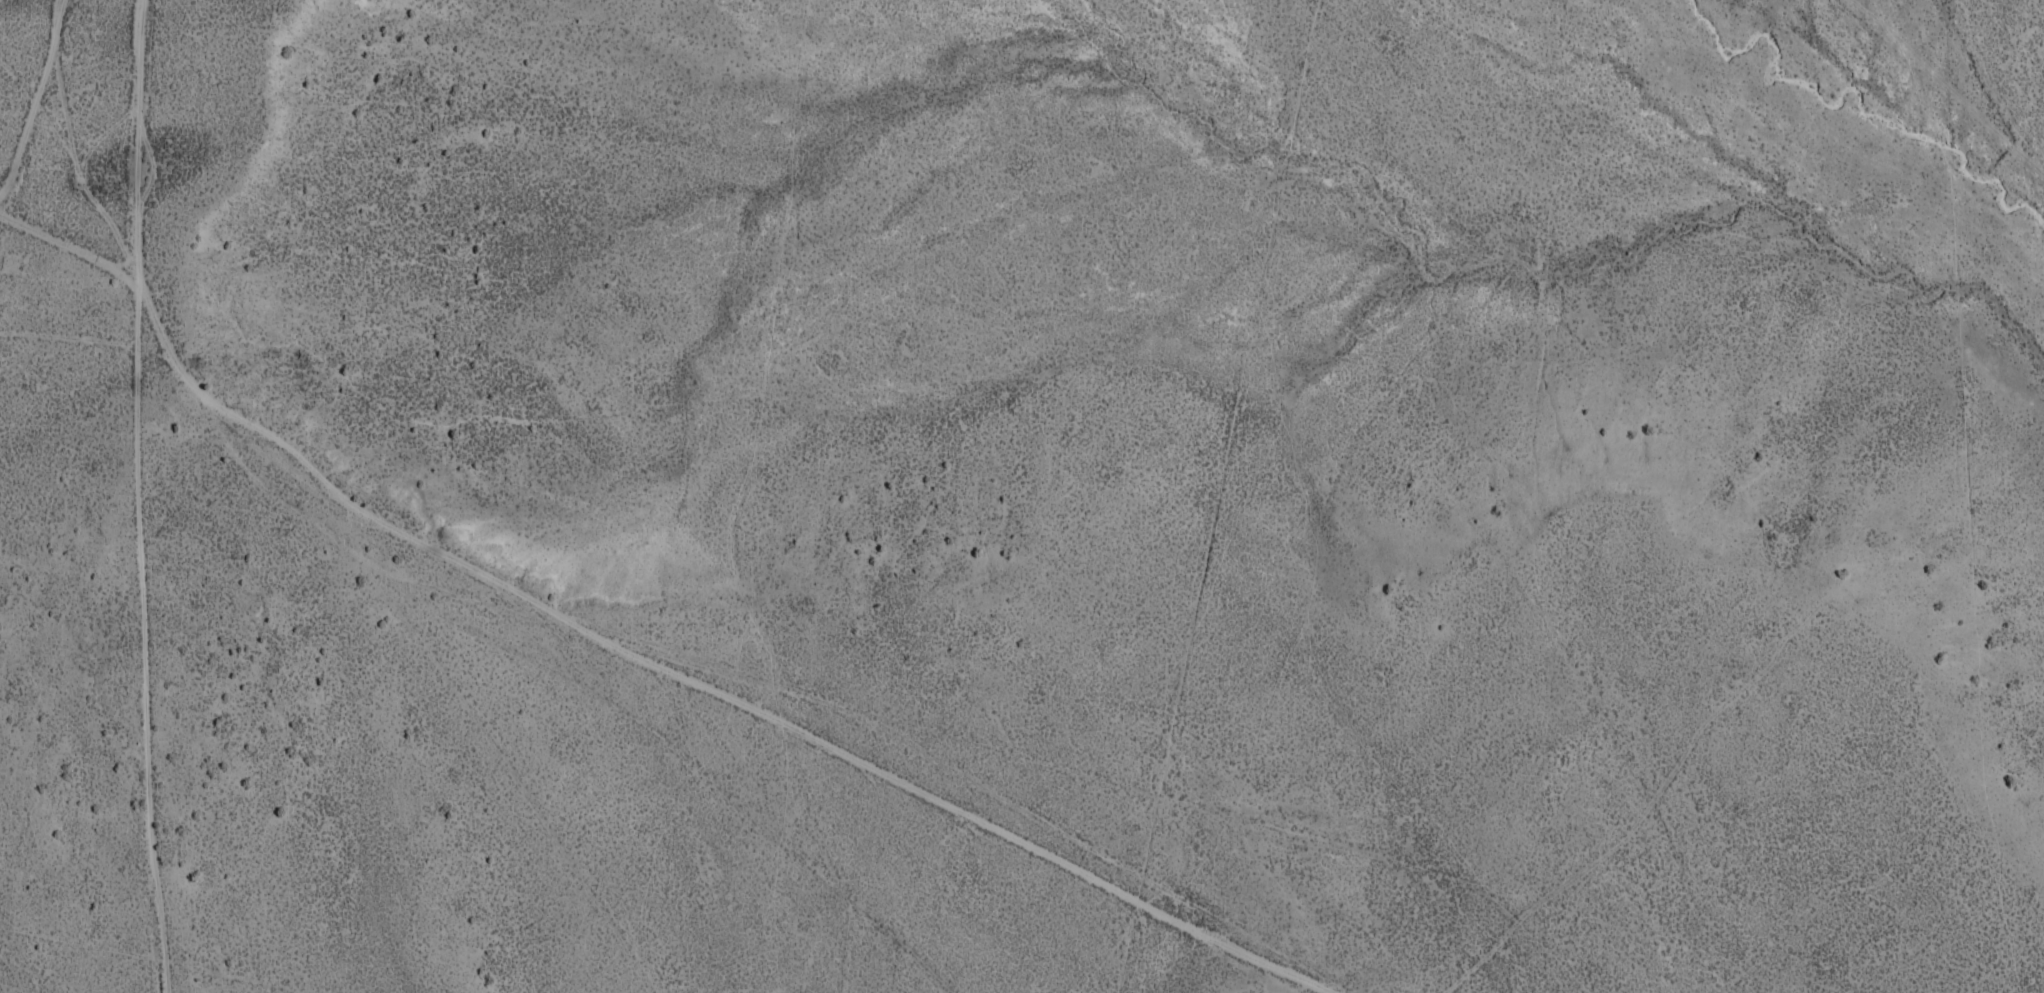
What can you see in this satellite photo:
road: (561, 623)

